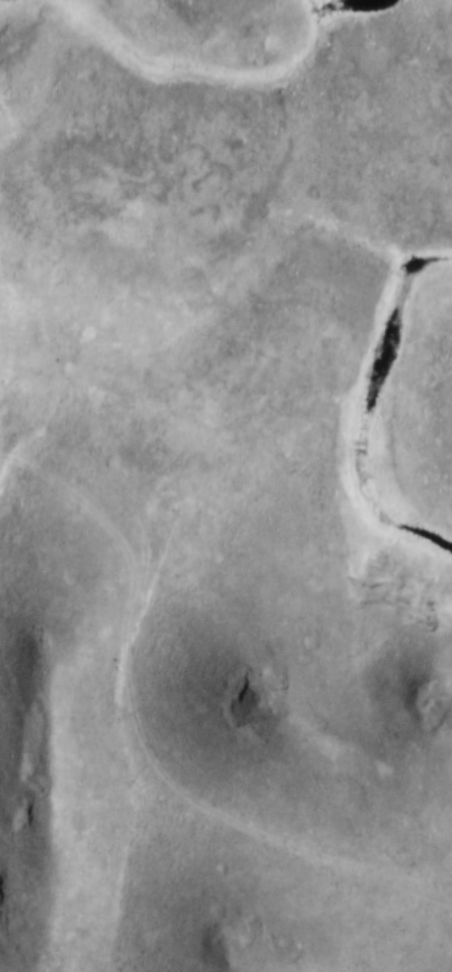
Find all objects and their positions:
road: (81, 905)

